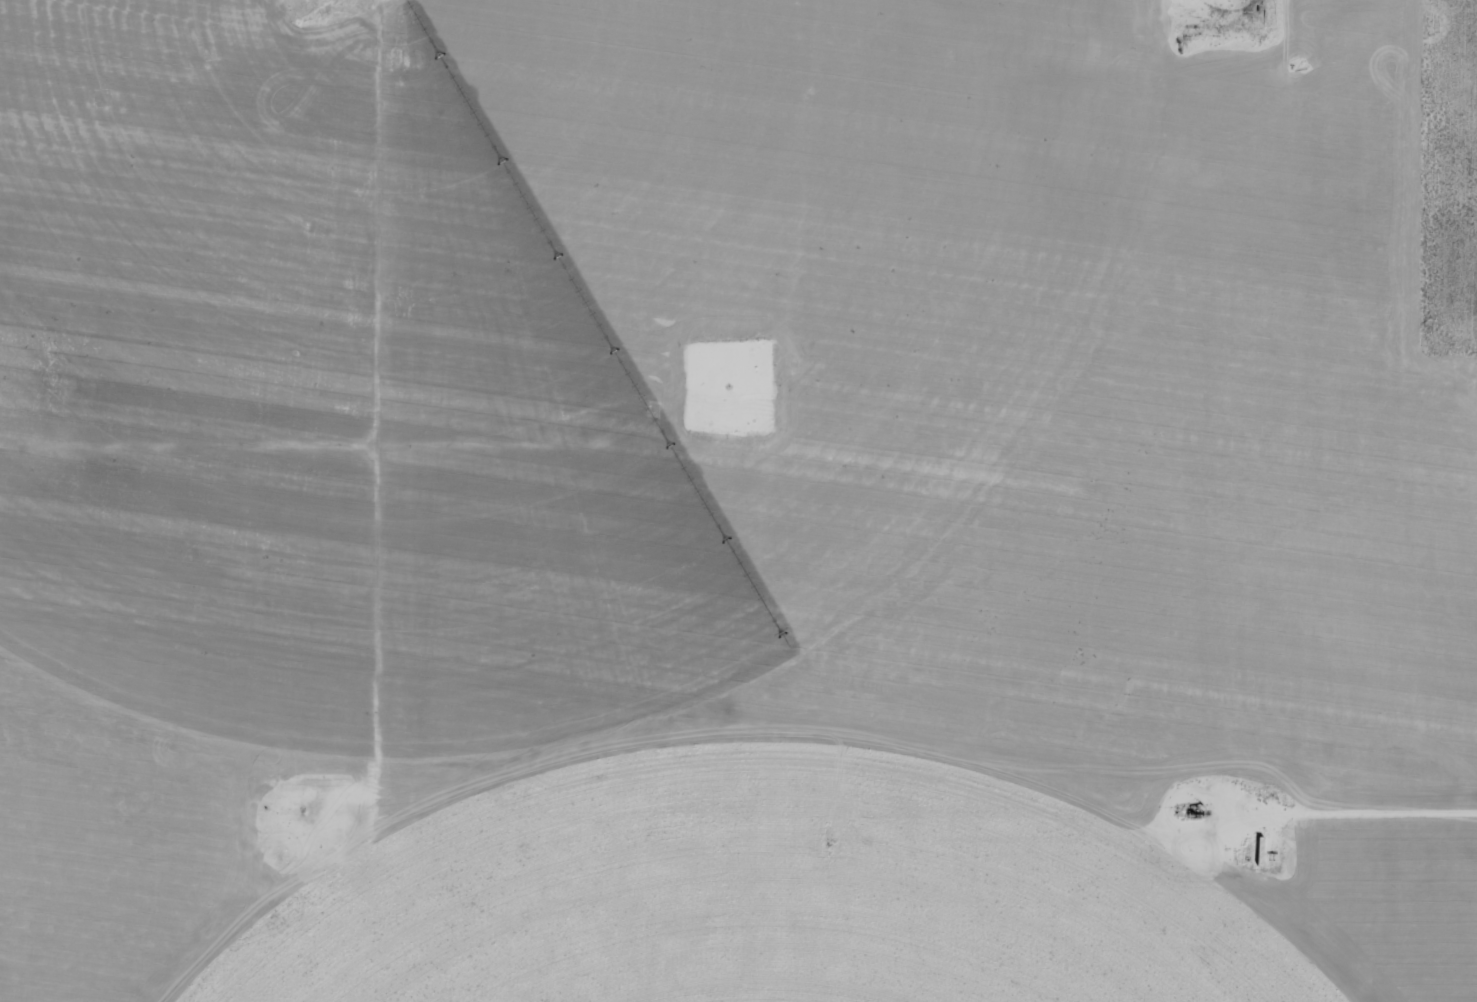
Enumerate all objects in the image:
petroleum well: (1188, 813)

